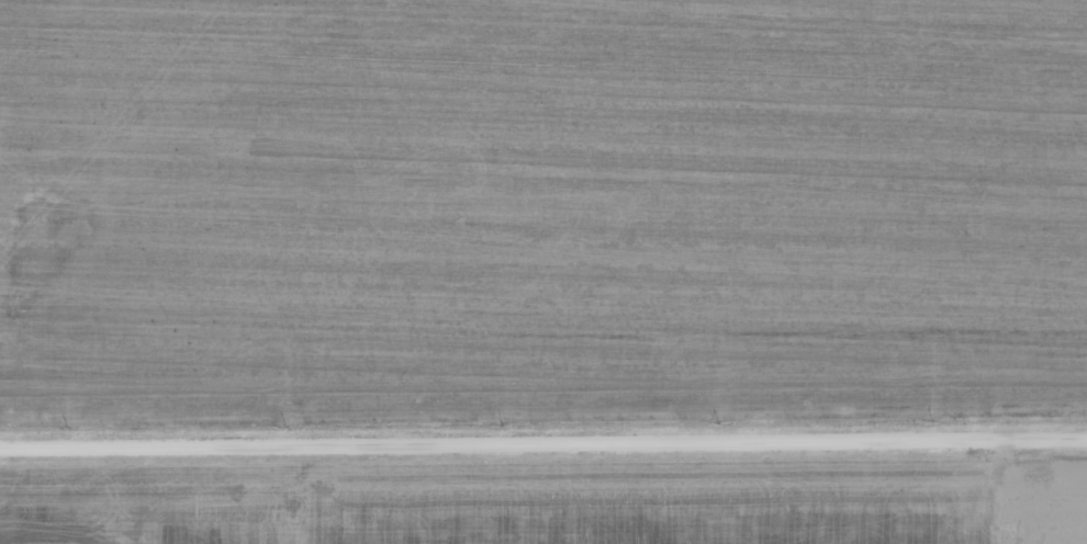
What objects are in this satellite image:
road: (543, 441)

